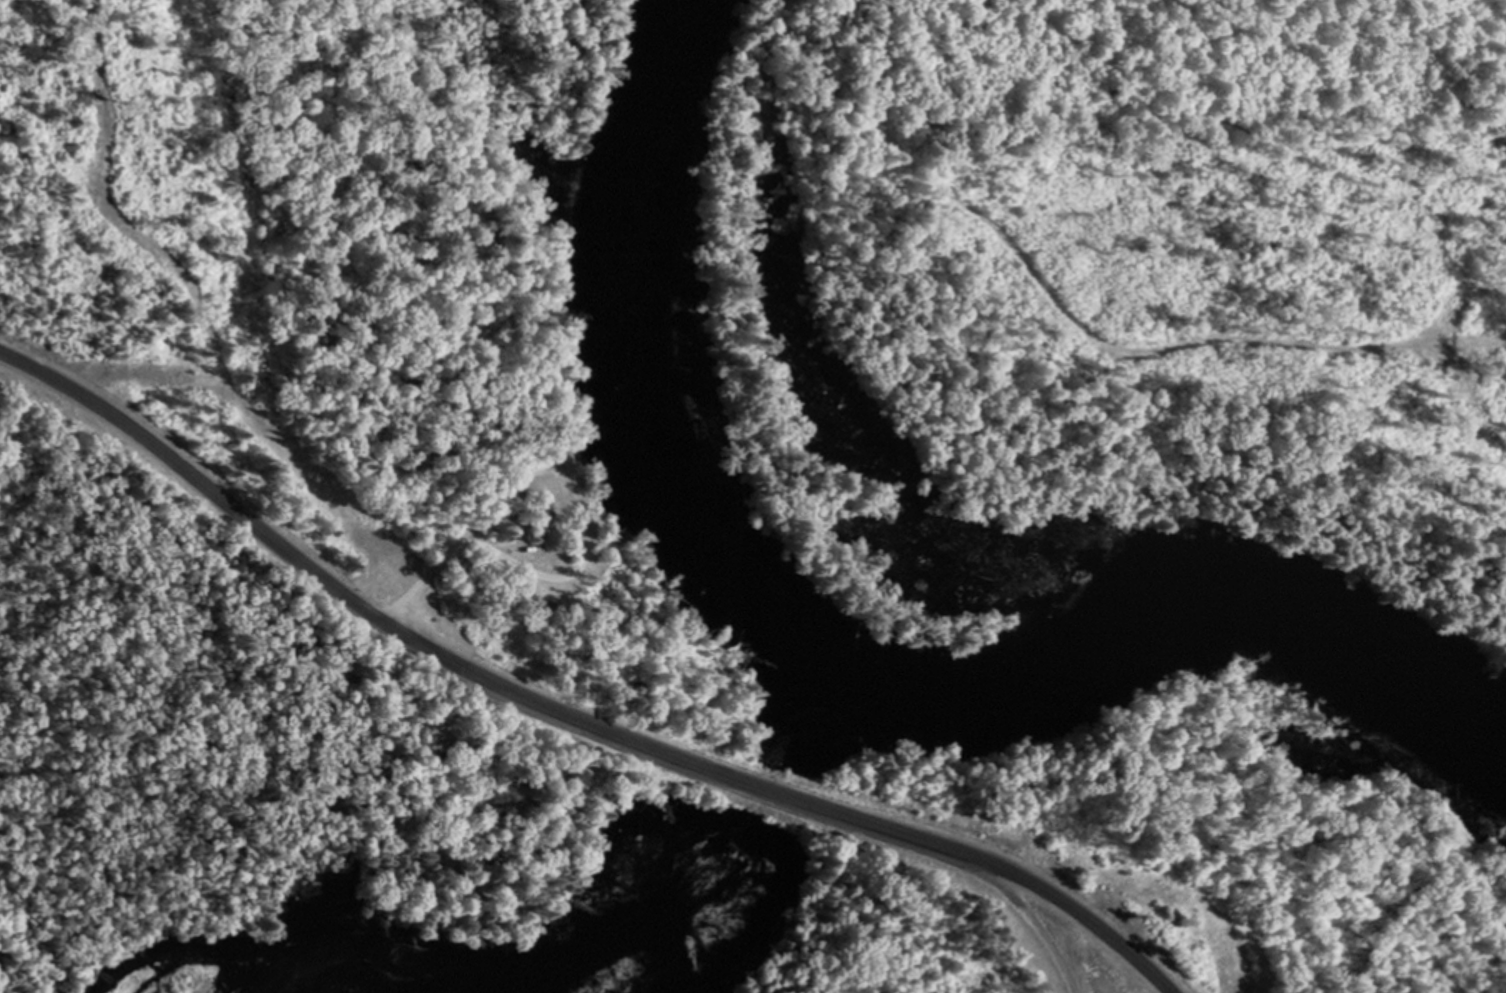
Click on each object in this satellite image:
road: (464, 535)
river: (832, 671)
road: (567, 713)
river: (817, 727)
river: (766, 790)
river: (666, 919)

